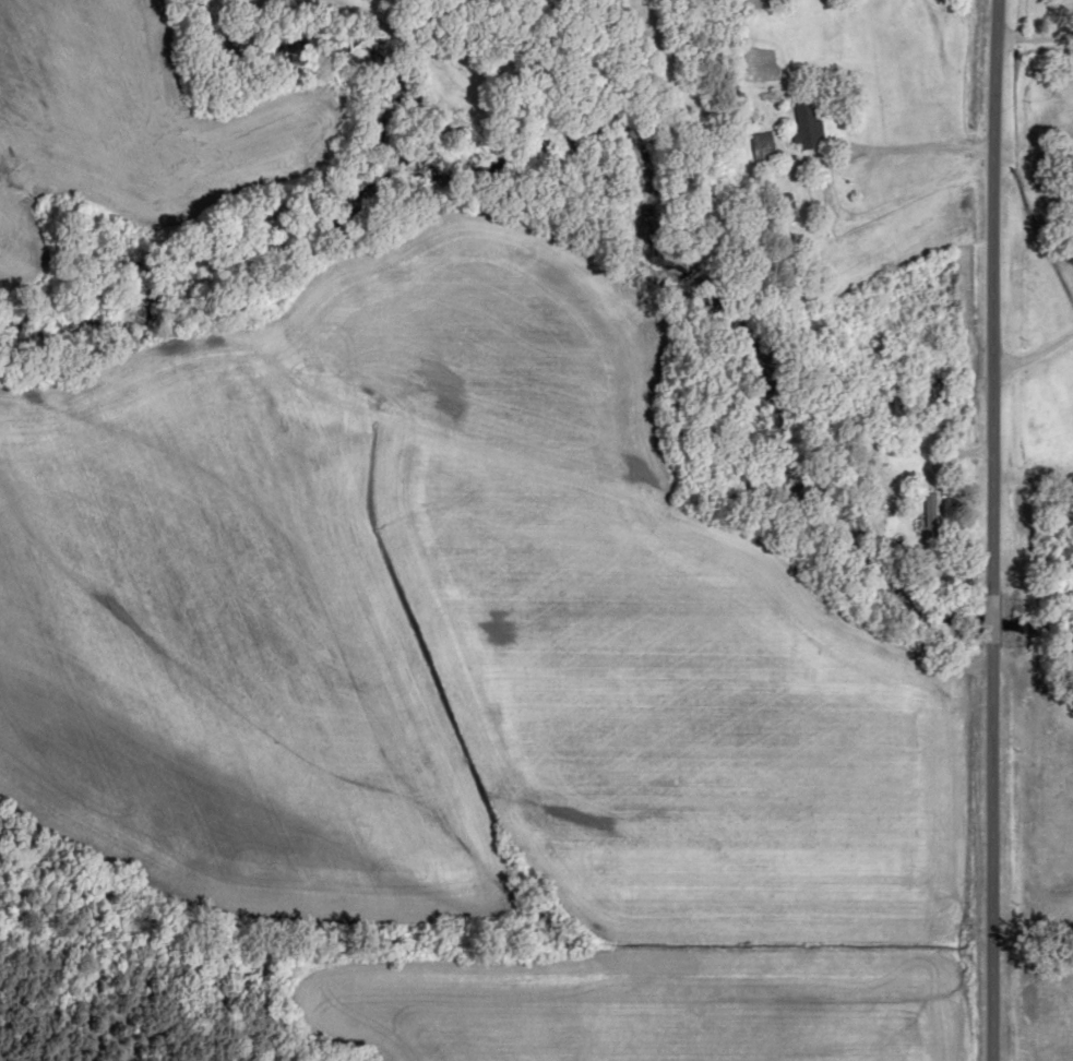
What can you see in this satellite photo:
building: (810, 126)
road: (925, 143)
building: (763, 145)
building: (785, 210)
road: (1040, 309)
building: (895, 403)
building: (931, 518)
road: (1008, 529)

